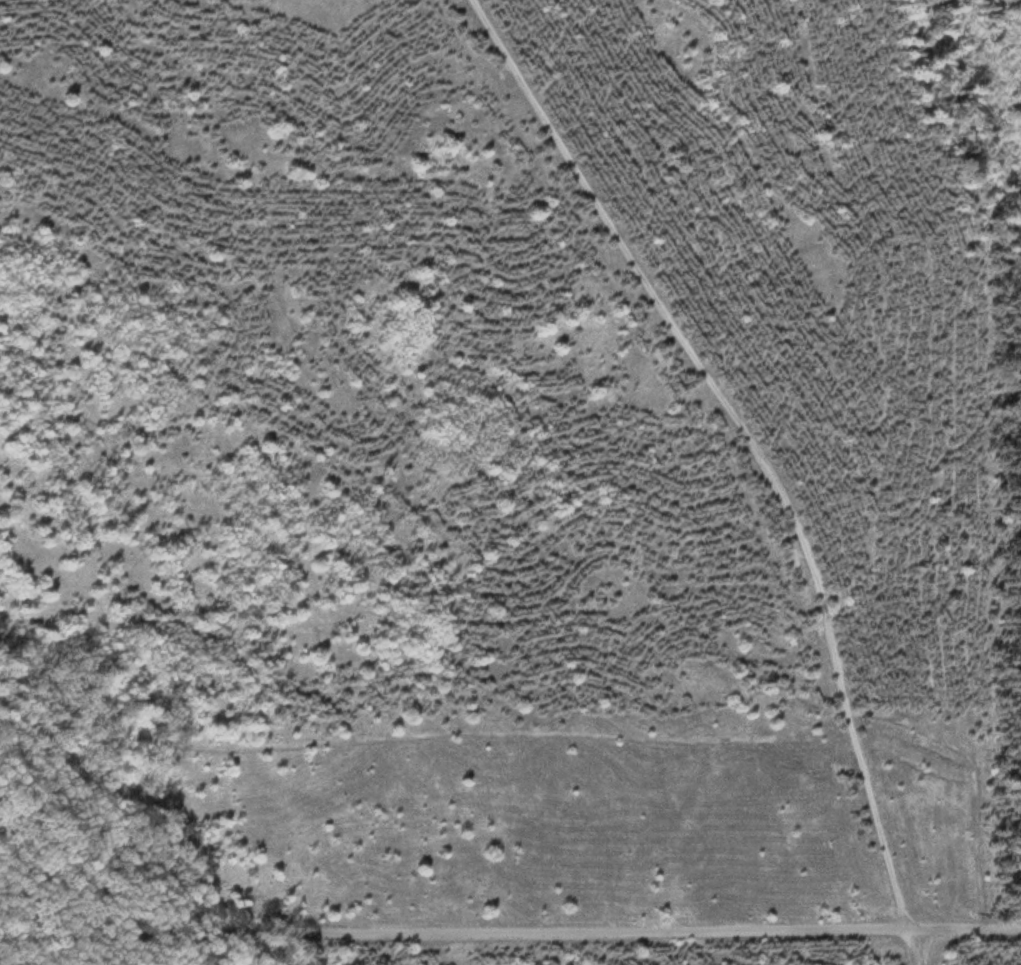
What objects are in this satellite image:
road: (751, 457)
road: (510, 928)

